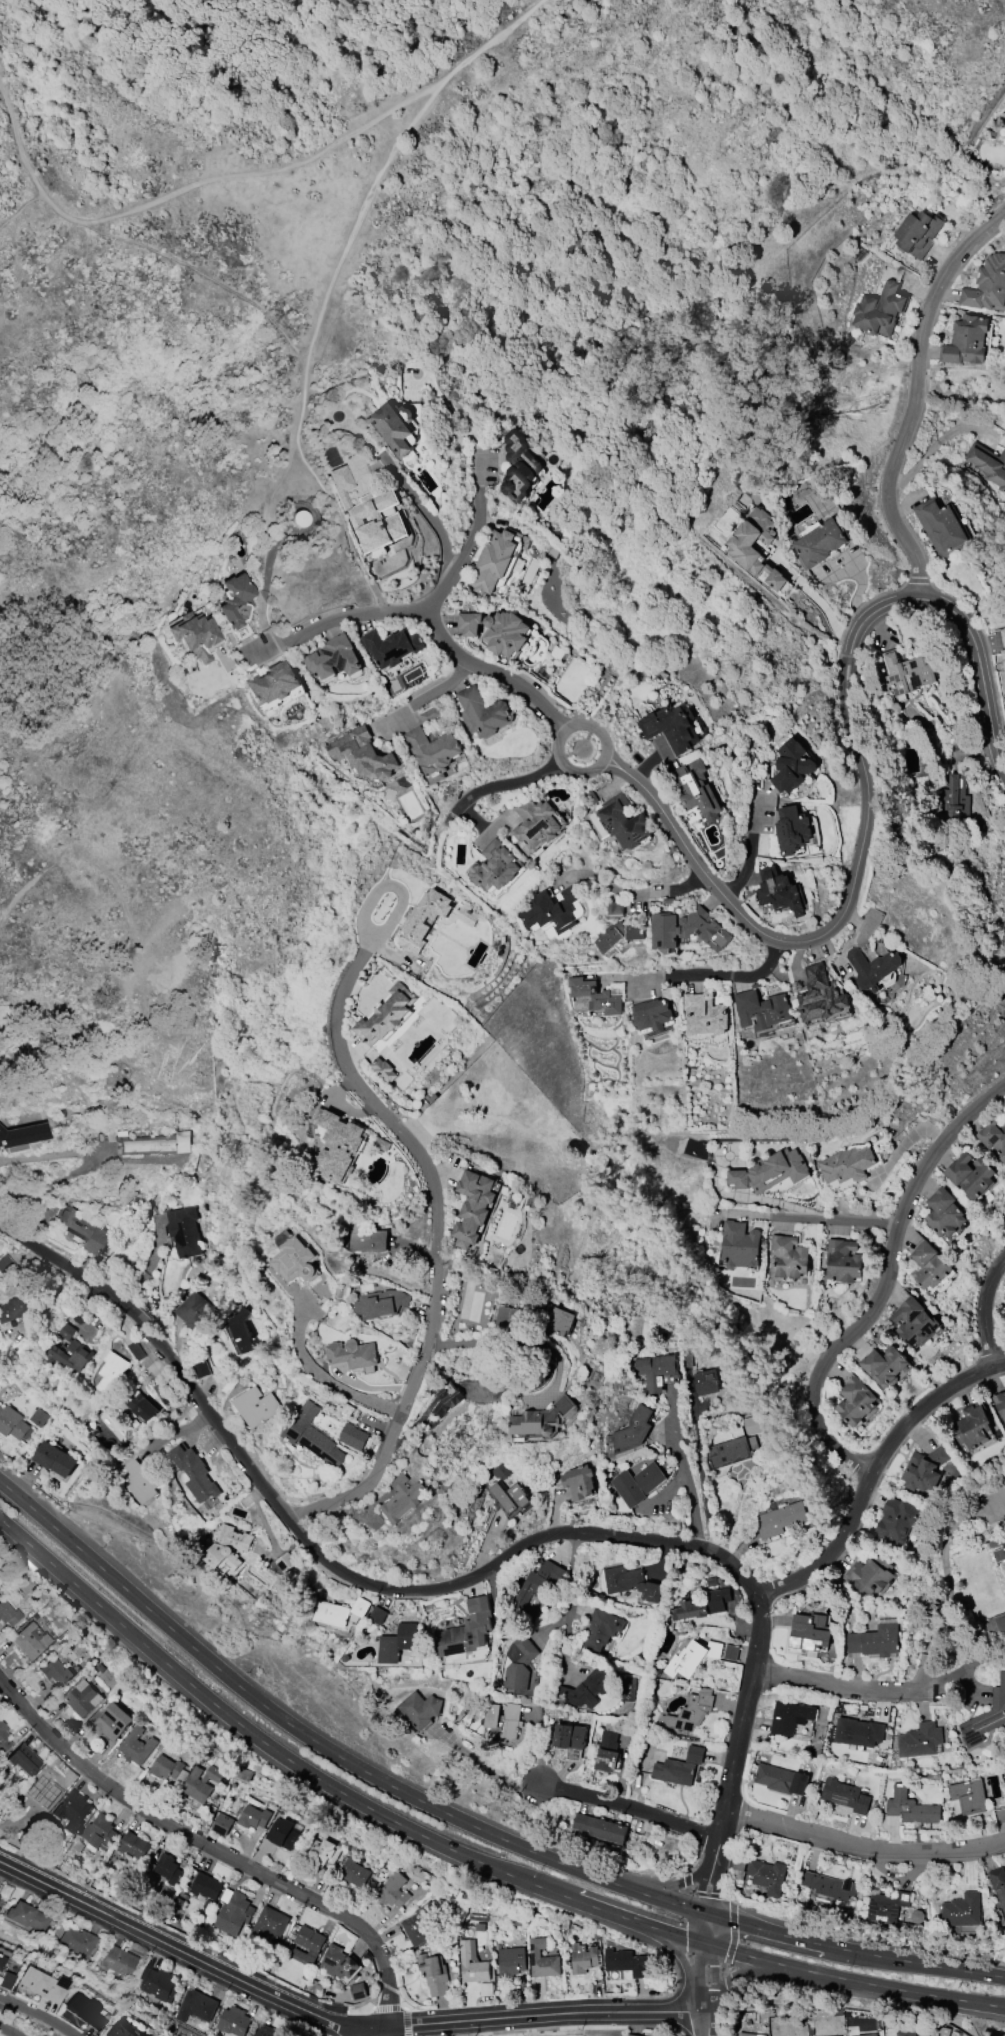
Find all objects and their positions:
road: (248, 172)
road: (20, 206)
building: (917, 232)
road: (207, 280)
building: (987, 284)
building: (879, 309)
building: (966, 340)
road: (304, 349)
road: (307, 361)
road: (916, 392)
road: (464, 420)
building: (394, 425)
building: (988, 463)
building: (519, 465)
road: (406, 483)
road: (329, 506)
building: (368, 512)
building: (941, 527)
building: (820, 542)
building: (740, 548)
building: (497, 558)
building: (234, 600)
road: (819, 602)
road: (374, 607)
road: (414, 609)
building: (468, 622)
building: (504, 633)
building: (1003, 634)
building: (194, 635)
road: (970, 636)
building: (391, 646)
building: (1003, 655)
building: (333, 657)
road: (487, 672)
building: (904, 673)
building: (272, 683)
road: (427, 700)
building: (1004, 706)
building: (483, 712)
building: (430, 714)
building: (674, 726)
road: (557, 740)
building: (432, 751)
building: (365, 753)
building: (791, 765)
road: (499, 786)
building: (695, 788)
building: (955, 800)
building: (623, 822)
building: (536, 823)
building: (792, 829)
road: (741, 850)
building: (493, 866)
building: (779, 890)
road: (631, 891)
building: (616, 907)
building: (549, 909)
building: (463, 913)
building: (423, 918)
building: (687, 928)
road: (819, 931)
building: (619, 934)
building: (872, 966)
road: (711, 976)
building: (820, 994)
building: (596, 995)
building: (762, 1009)
building: (652, 1013)
building: (704, 1013)
building: (385, 1015)
building: (384, 1068)
building: (22, 1134)
building: (993, 1137)
building: (149, 1142)
building: (337, 1145)
building: (847, 1163)
road: (82, 1168)
building: (772, 1172)
building: (969, 1174)
building: (472, 1206)
building: (942, 1212)
road: (815, 1218)
building: (82, 1229)
building: (183, 1229)
building: (367, 1238)
road: (434, 1242)
building: (739, 1244)
building: (789, 1255)
building: (295, 1260)
building: (842, 1260)
building: (5, 1264)
building: (927, 1265)
road: (885, 1283)
building: (380, 1303)
road: (981, 1307)
building: (14, 1310)
building: (195, 1310)
building: (508, 1318)
building: (561, 1321)
building: (914, 1321)
building: (242, 1329)
road: (518, 1342)
building: (67, 1350)
building: (136, 1350)
road: (162, 1350)
building: (352, 1353)
building: (884, 1365)
building: (200, 1368)
building: (655, 1370)
building: (110, 1371)
road: (320, 1372)
building: (706, 1382)
building: (446, 1398)
building: (854, 1400)
building: (1000, 1403)
building: (141, 1405)
building: (255, 1406)
building: (39, 1416)
building: (542, 1417)
building: (13, 1423)
building: (972, 1424)
building: (631, 1430)
road: (177, 1431)
building: (312, 1435)
building: (353, 1436)
building: (730, 1450)
building: (54, 1458)
building: (924, 1468)
road: (873, 1470)
building: (499, 1471)
road: (686, 1471)
building: (194, 1472)
building: (578, 1480)
building: (139, 1481)
building: (637, 1482)
road: (12, 1491)
building: (509, 1496)
building: (400, 1498)
building: (780, 1518)
building: (899, 1519)
road: (10, 1524)
building: (997, 1541)
road: (668, 1544)
building: (228, 1546)
building: (1000, 1554)
building: (285, 1561)
building: (870, 1574)
building: (630, 1581)
building: (534, 1585)
road: (569, 1599)
building: (701, 1604)
building: (360, 1606)
building: (8, 1613)
building: (331, 1613)
building: (377, 1614)
building: (997, 1623)
building: (466, 1628)
building: (600, 1629)
building: (809, 1631)
building: (30, 1640)
building: (874, 1640)
building: (396, 1642)
building: (731, 1651)
building: (690, 1657)
building: (518, 1662)
building: (55, 1671)
road: (842, 1687)
building: (584, 1689)
building: (82, 1698)
building: (419, 1708)
building: (689, 1711)
building: (790, 1716)
building: (986, 1717)
building: (502, 1720)
building: (111, 1721)
building: (858, 1731)
building: (569, 1735)
building: (3, 1738)
building: (920, 1739)
building: (136, 1745)
road: (277, 1748)
building: (607, 1751)
building: (694, 1753)
road: (337, 1755)
building: (23, 1759)
building: (167, 1768)
building: (673, 1771)
building: (243, 1774)
building: (780, 1778)
building: (200, 1782)
building: (47, 1786)
building: (845, 1795)
building: (968, 1795)
building: (910, 1807)
road: (627, 1808)
building: (72, 1810)
building: (253, 1816)
building: (221, 1823)
building: (600, 1827)
building: (99, 1831)
building: (282, 1832)
building: (133, 1845)
road: (865, 1845)
road: (213, 1849)
building: (323, 1850)
building: (168, 1868)
building: (737, 1870)
building: (353, 1871)
building: (767, 1875)
road: (676, 1883)
building: (999, 1884)
building: (205, 1885)
building: (830, 1885)
building: (392, 1889)
building: (0, 1894)
building: (887, 1906)
building: (962, 1909)
building: (232, 1911)
traffic signals: (709, 1913)
building: (27, 1917)
building: (269, 1923)
road: (640, 1925)
building: (415, 1929)
road: (708, 1929)
road: (766, 1931)
building: (78, 1942)
building: (307, 1944)
traffic signals: (707, 1945)
road: (674, 1954)
building: (582, 1957)
road: (752, 1957)
building: (542, 1958)
building: (511, 1960)
building: (1, 1961)
building: (119, 1962)
building: (337, 1962)
building: (471, 1962)
building: (625, 1962)
road: (914, 1963)
road: (743, 1972)
building: (433, 1973)
road: (705, 1977)
building: (6, 1980)
building: (157, 1983)
building: (42, 1984)
building: (358, 1990)
road: (900, 1990)
building: (195, 2005)
building: (84, 2011)
road: (40, 2016)
building: (233, 2021)
road: (335, 2022)
road: (705, 2022)
road: (9, 2030)
building: (120, 2030)
building: (266, 2030)
building: (940, 2030)
road: (357, 2032)
park: (567, 2032)
building: (905, 2032)
building: (634, 2034)
building: (750, 2034)
building: (866, 2034)
building: (140, 2035)
building: (839, 2035)

